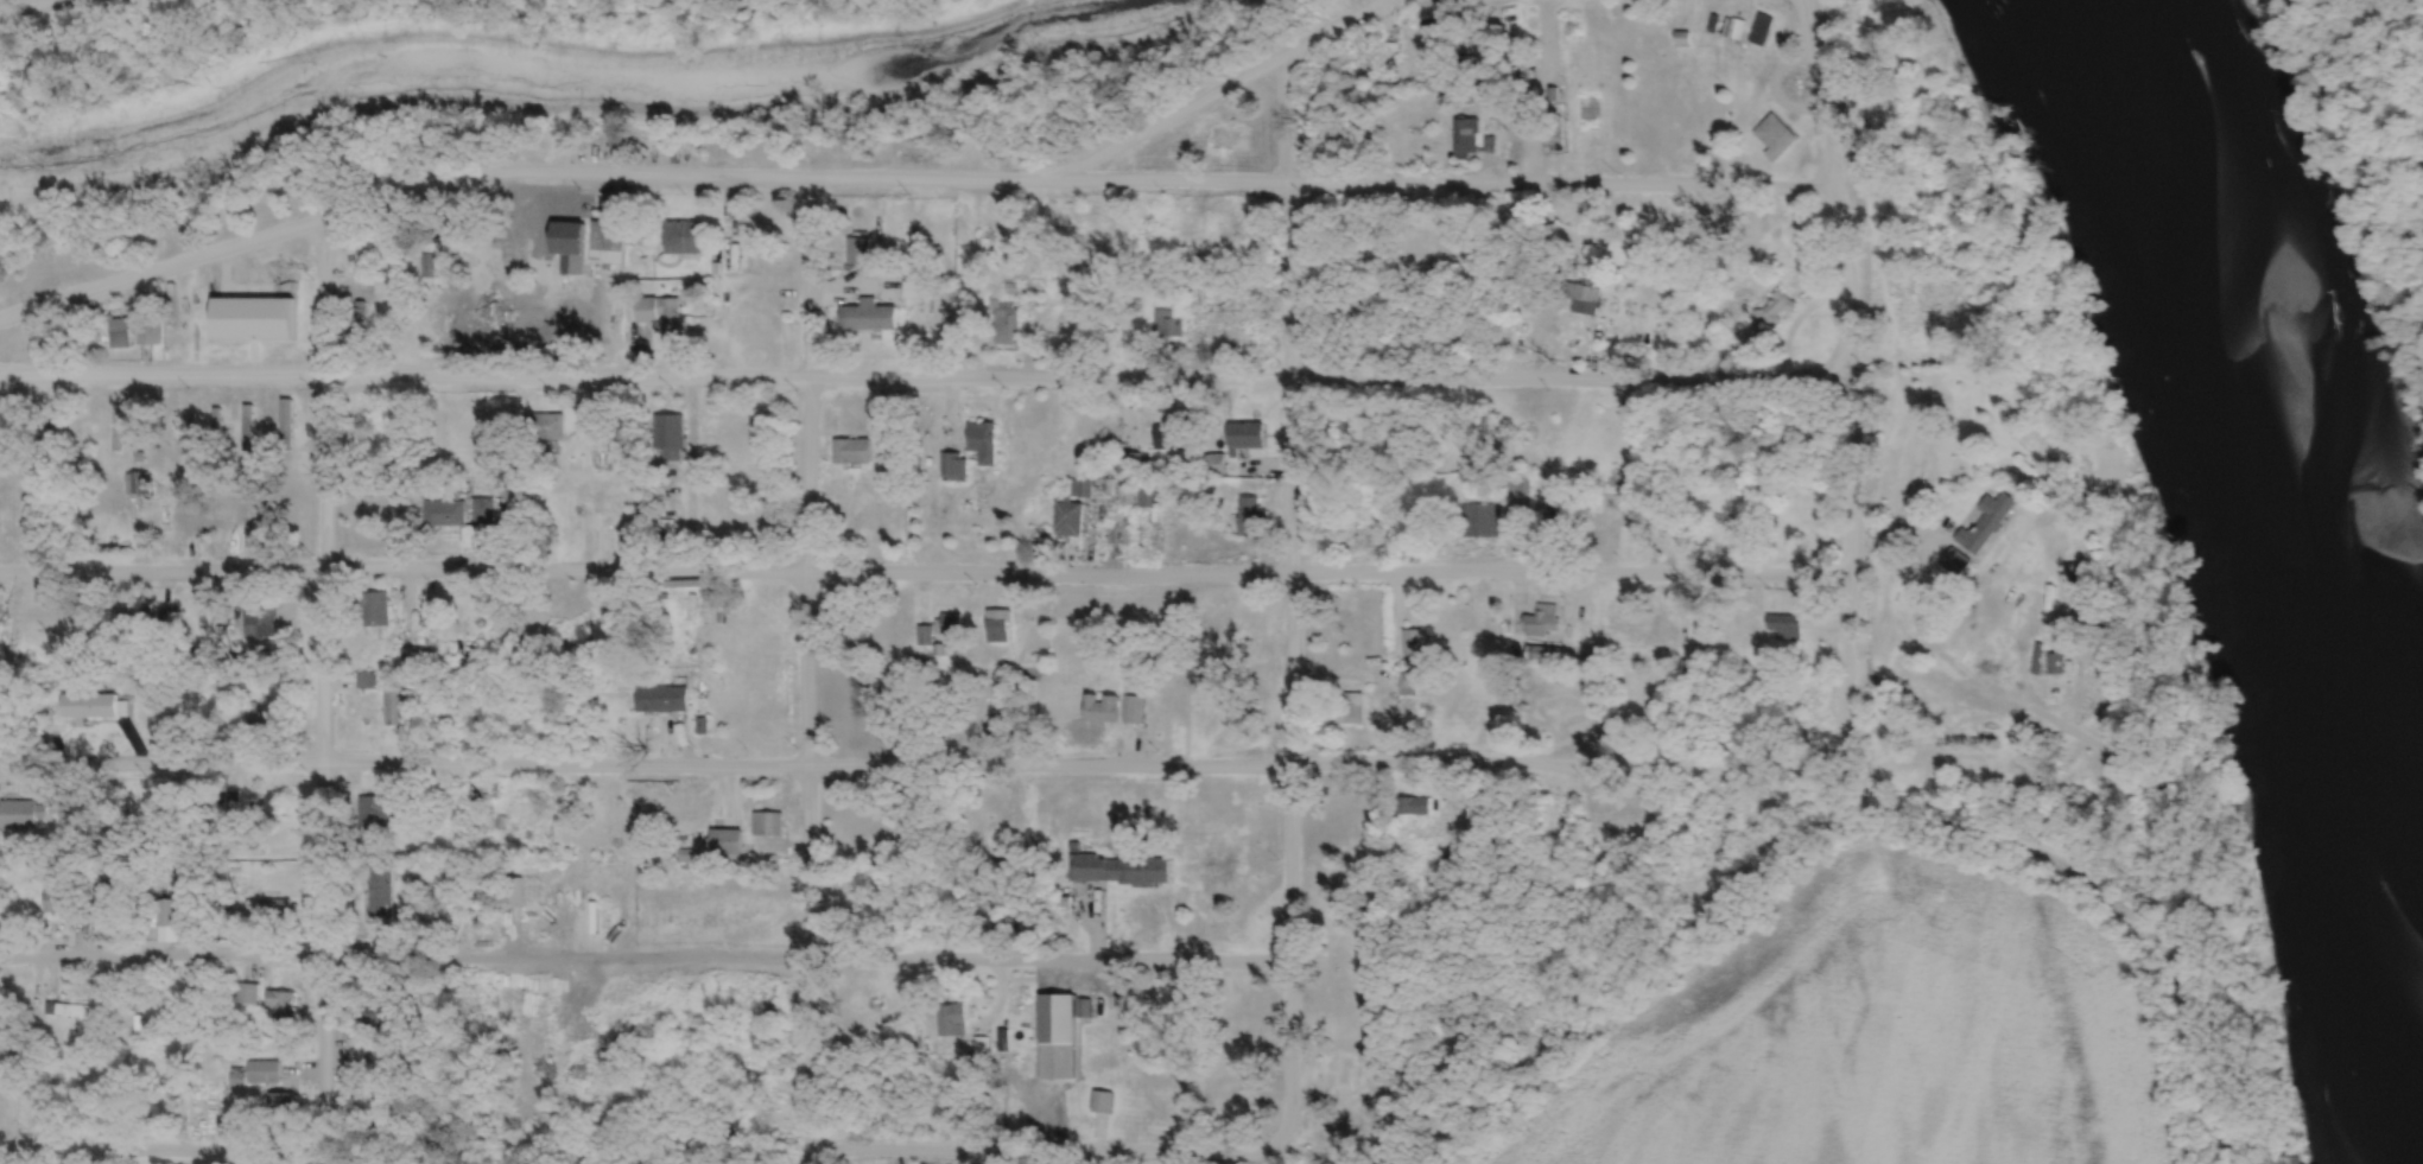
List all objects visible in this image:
road: (38, 5)
building: (1755, 31)
building: (1376, 55)
building: (1777, 138)
building: (1467, 139)
road: (1153, 178)
road: (1560, 178)
road: (699, 180)
building: (539, 227)
building: (996, 234)
building: (685, 238)
building: (610, 243)
building: (861, 252)
building: (918, 291)
building: (1586, 299)
building: (1771, 317)
building: (664, 318)
building: (873, 318)
building: (1008, 324)
building: (1169, 325)
building: (755, 329)
building: (116, 331)
building: (152, 332)
road: (1850, 373)
road: (925, 377)
building: (288, 424)
building: (218, 428)
building: (250, 428)
building: (548, 428)
building: (120, 430)
building: (148, 430)
building: (191, 437)
building: (1249, 437)
building: (1171, 438)
building: (670, 439)
building: (985, 444)
building: (601, 447)
building: (855, 452)
building: (1130, 464)
building: (954, 467)
building: (1220, 467)
building: (139, 484)
building: (1152, 496)
building: (578, 505)
river: (2310, 507)
building: (489, 511)
building: (446, 514)
building: (1255, 519)
building: (1563, 519)
building: (1072, 521)
building: (1483, 521)
building: (1988, 523)
building: (1515, 529)
road: (924, 570)
building: (2079, 580)
road: (1293, 604)
building: (376, 609)
building: (135, 621)
building: (543, 621)
building: (952, 622)
building: (1544, 623)
building: (262, 624)
building: (1000, 626)
building: (1789, 628)
building: (1255, 629)
building: (926, 636)
building: (1417, 643)
building: (411, 657)
building: (1236, 669)
road: (807, 673)
building: (368, 680)
building: (1410, 683)
road: (325, 692)
building: (665, 699)
building: (397, 706)
building: (1104, 708)
building: (1352, 708)
building: (1135, 710)
building: (1562, 711)
building: (264, 715)
building: (450, 717)
road: (919, 767)
building: (265, 804)
building: (380, 806)
building: (1415, 806)
building: (20, 815)
building: (769, 825)
building: (728, 842)
building: (1125, 870)
road: (2100, 888)
building: (386, 891)
building: (63, 902)
building: (280, 911)
building: (170, 914)
road: (645, 958)
building: (248, 996)
building: (284, 1007)
building: (1106, 1009)
building: (75, 1011)
building: (1060, 1038)
building: (1337, 1074)
building: (277, 1083)
building: (1157, 1111)
building: (1244, 1113)
road: (160, 1150)
road: (1058, 1150)

